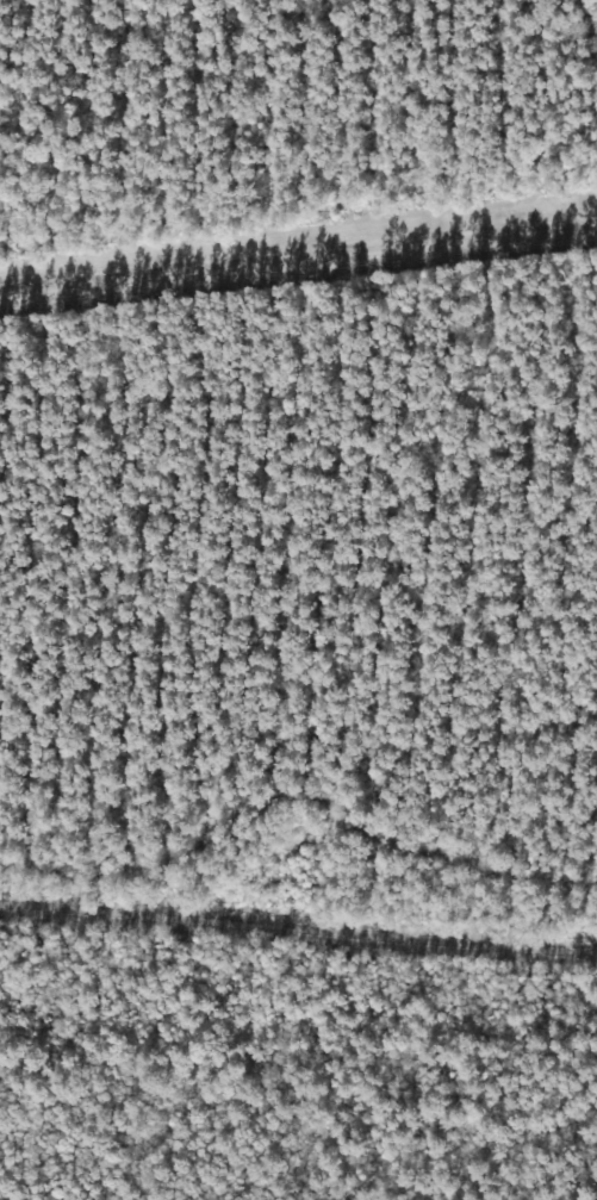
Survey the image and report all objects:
road: (298, 846)

